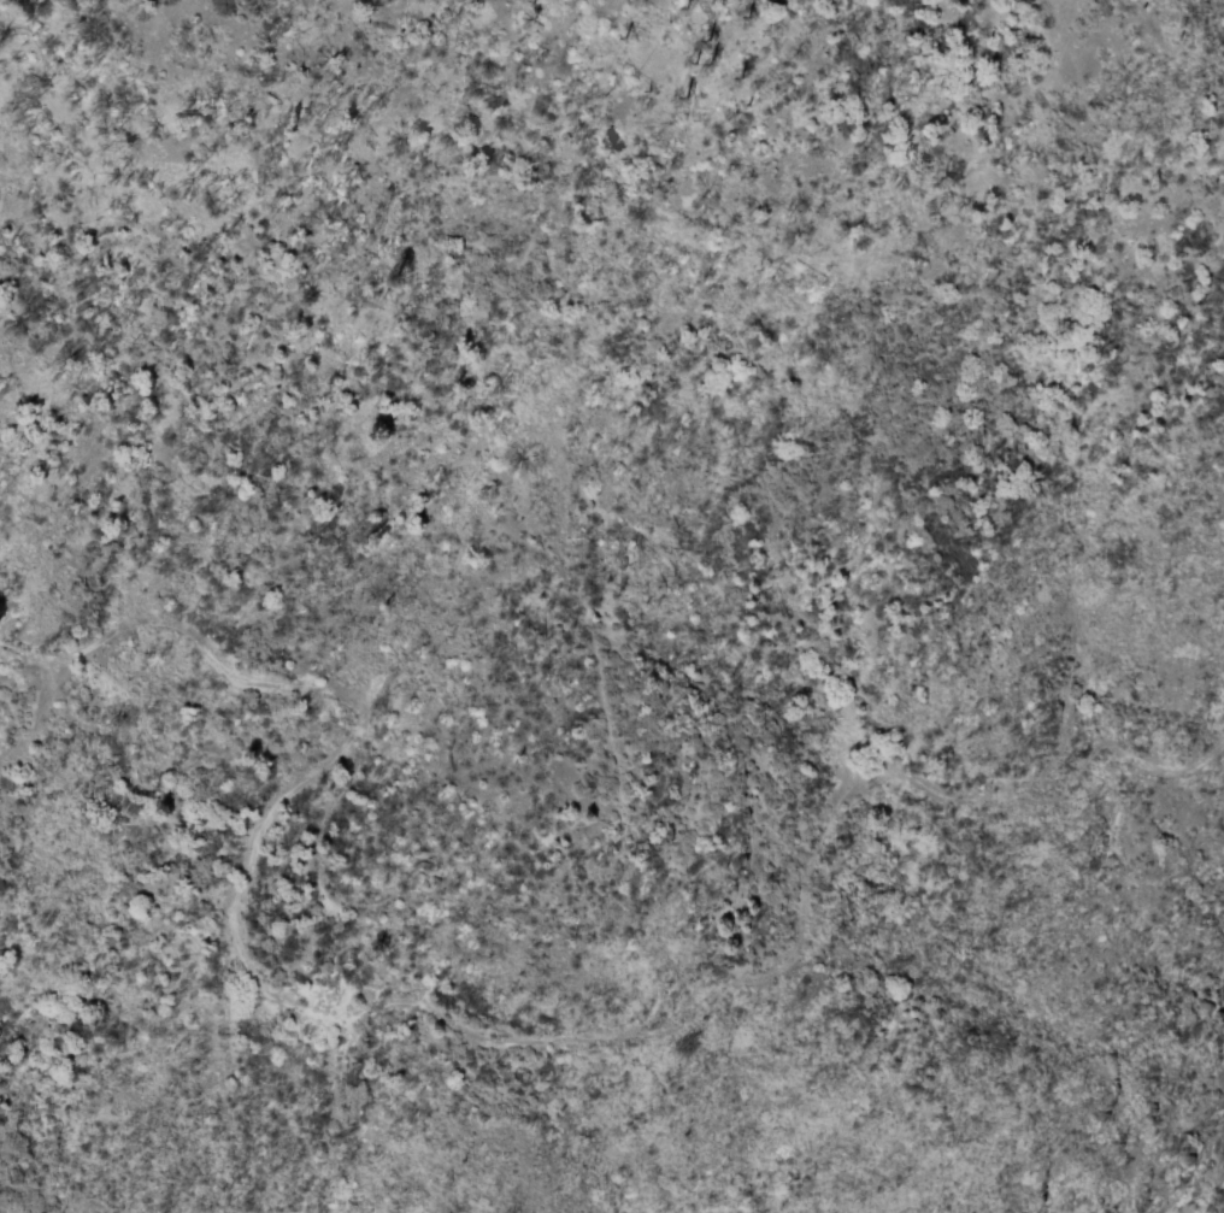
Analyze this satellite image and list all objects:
road: (255, 896)

